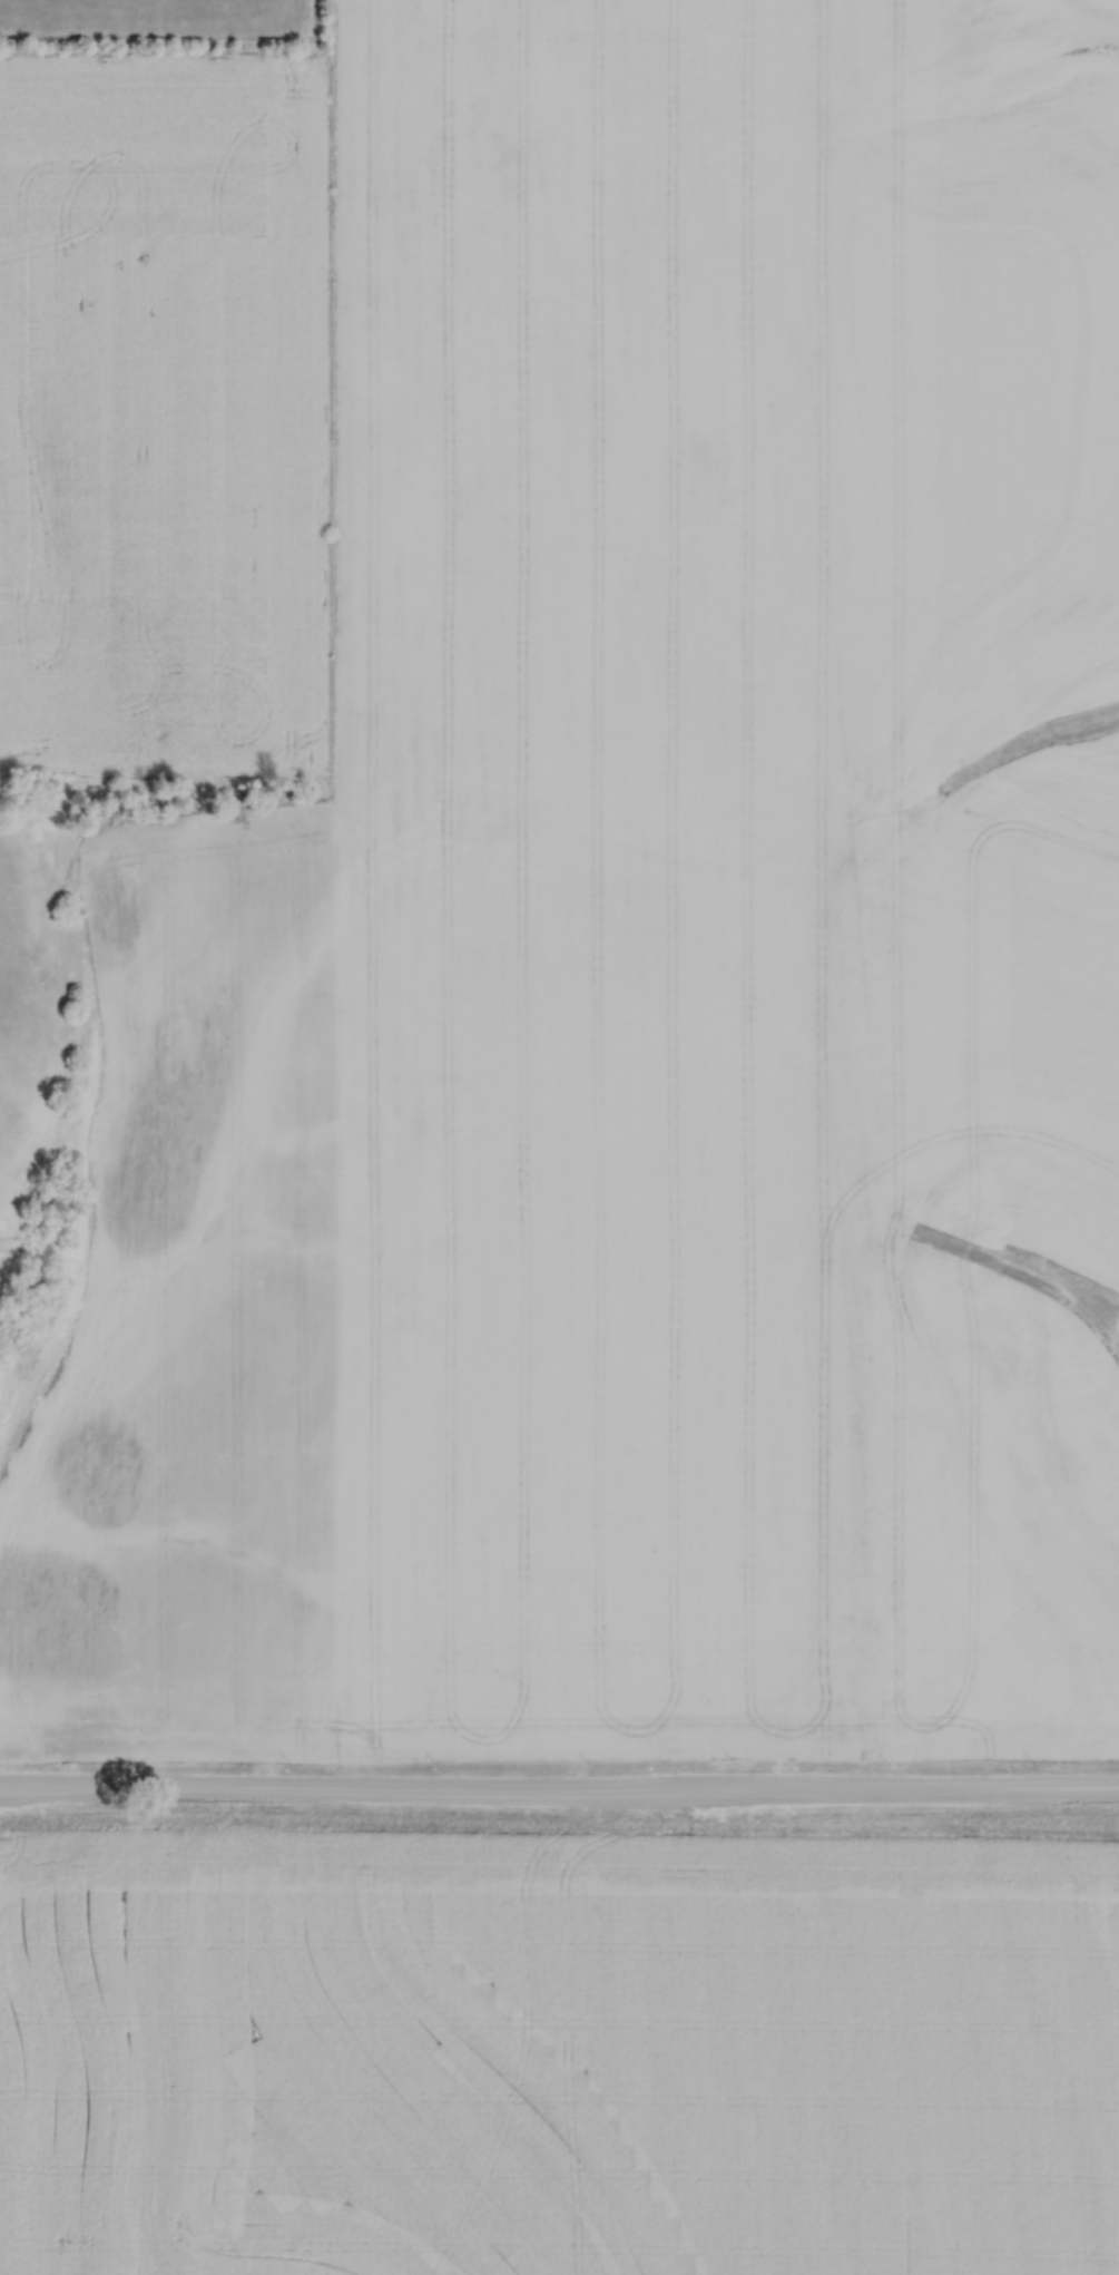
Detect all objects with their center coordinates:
road: (559, 1785)

